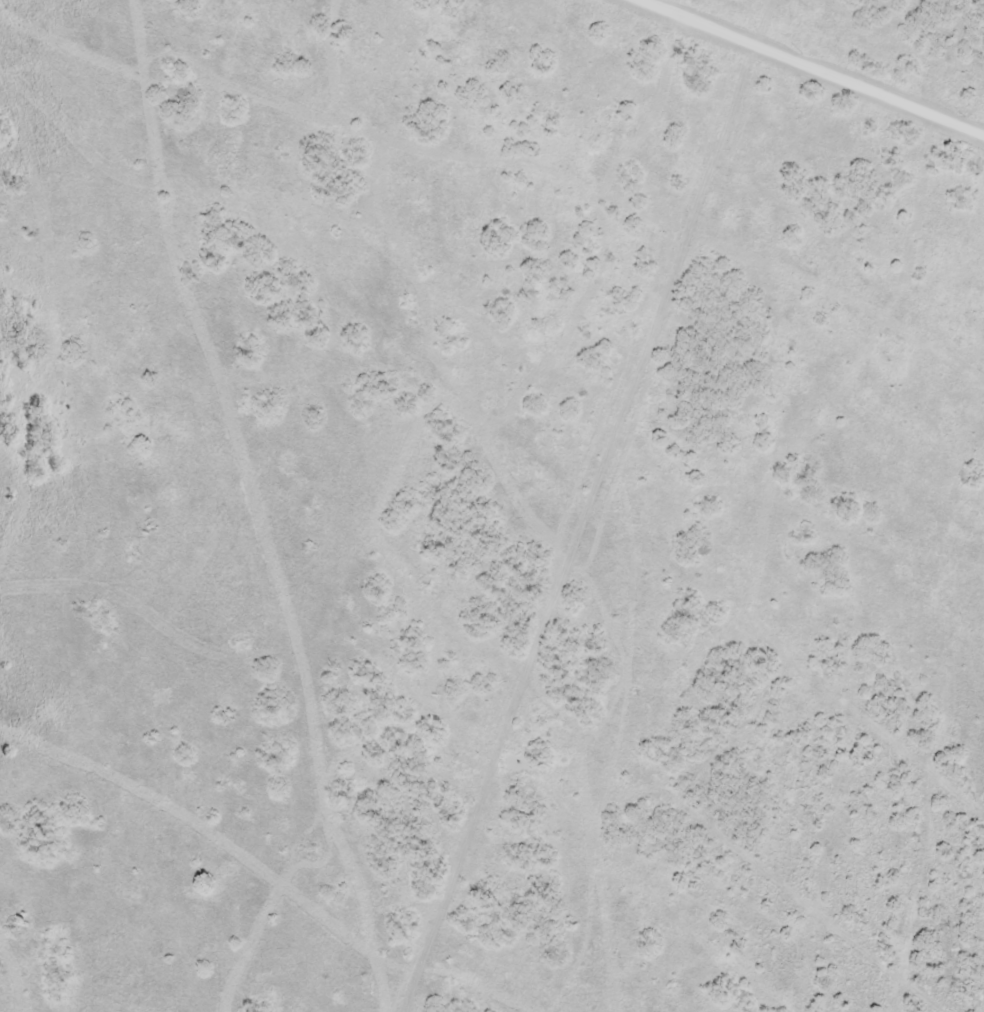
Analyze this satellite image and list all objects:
road: (811, 68)

